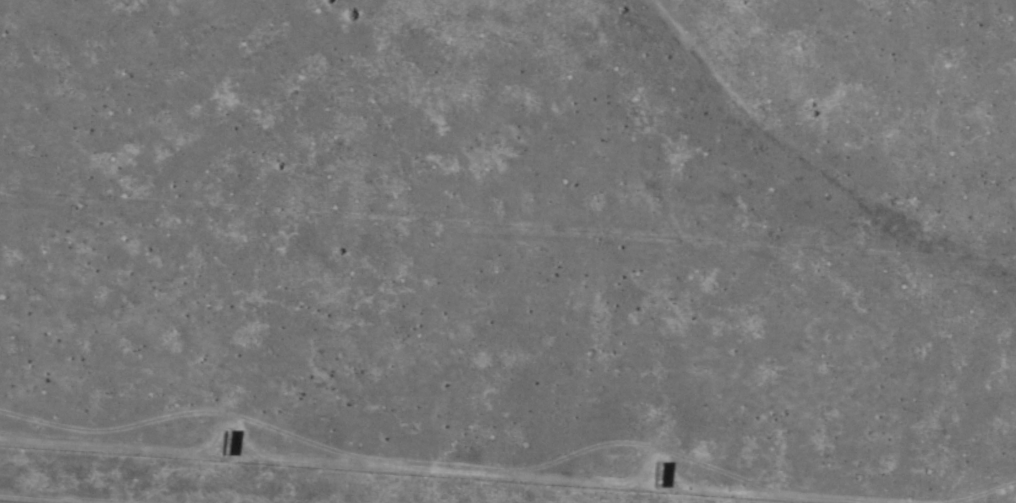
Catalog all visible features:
road: (455, 461)
road: (979, 491)

